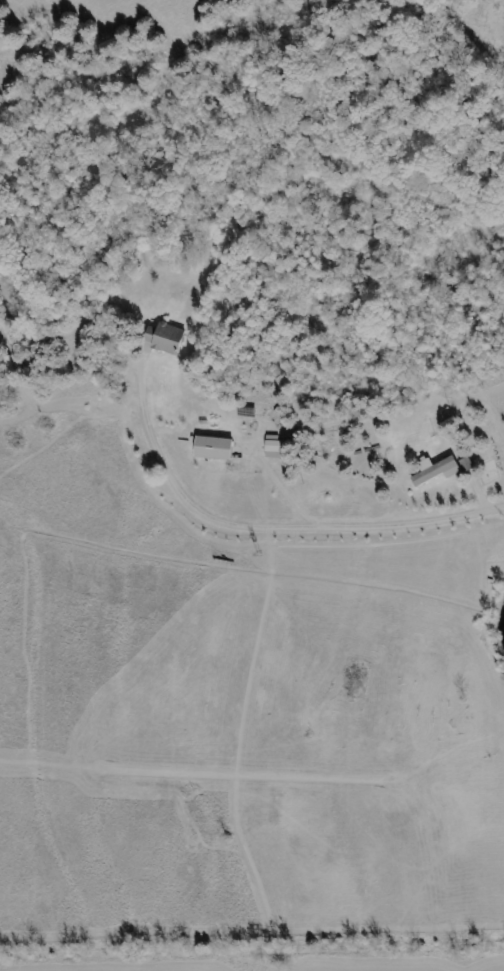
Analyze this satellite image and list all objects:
building: (163, 338)
building: (210, 448)
building: (272, 449)
building: (464, 464)
building: (433, 471)

